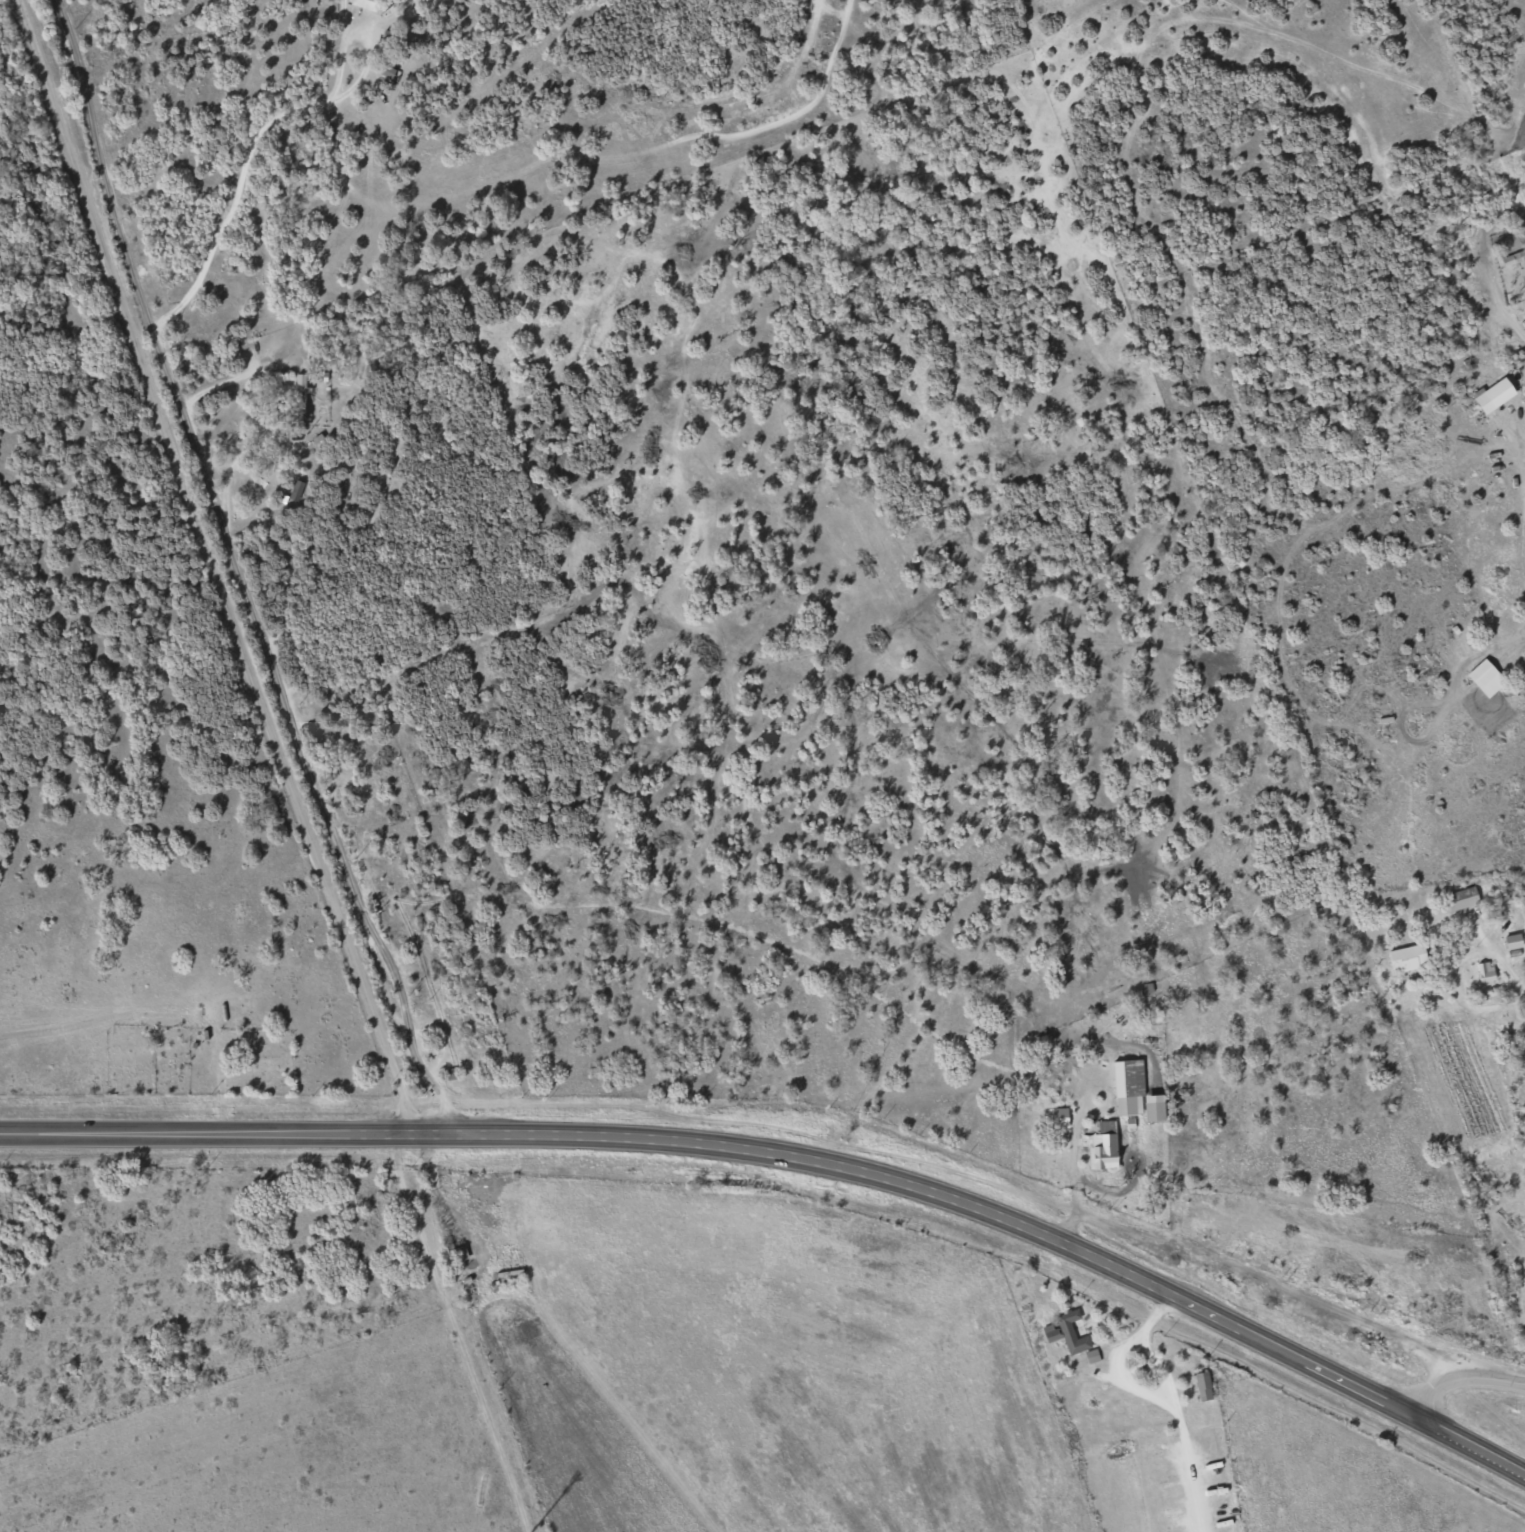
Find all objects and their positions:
building: (364, 4)
building: (384, 74)
road: (266, 121)
road: (1504, 310)
building: (298, 388)
building: (1490, 396)
building: (297, 415)
road: (1515, 429)
building: (295, 491)
road: (212, 567)
road: (239, 571)
building: (1482, 678)
building: (1459, 899)
building: (1510, 941)
building: (1404, 958)
building: (1483, 973)
building: (1131, 1092)
building: (1058, 1118)
building: (1100, 1147)
road: (1074, 1151)
road: (796, 1156)
road: (438, 1197)
road: (1272, 1282)
building: (1048, 1333)
building: (1069, 1333)
building: (1089, 1357)
road: (1159, 1371)
road: (1458, 1377)
building: (1201, 1387)
road: (1153, 1397)

